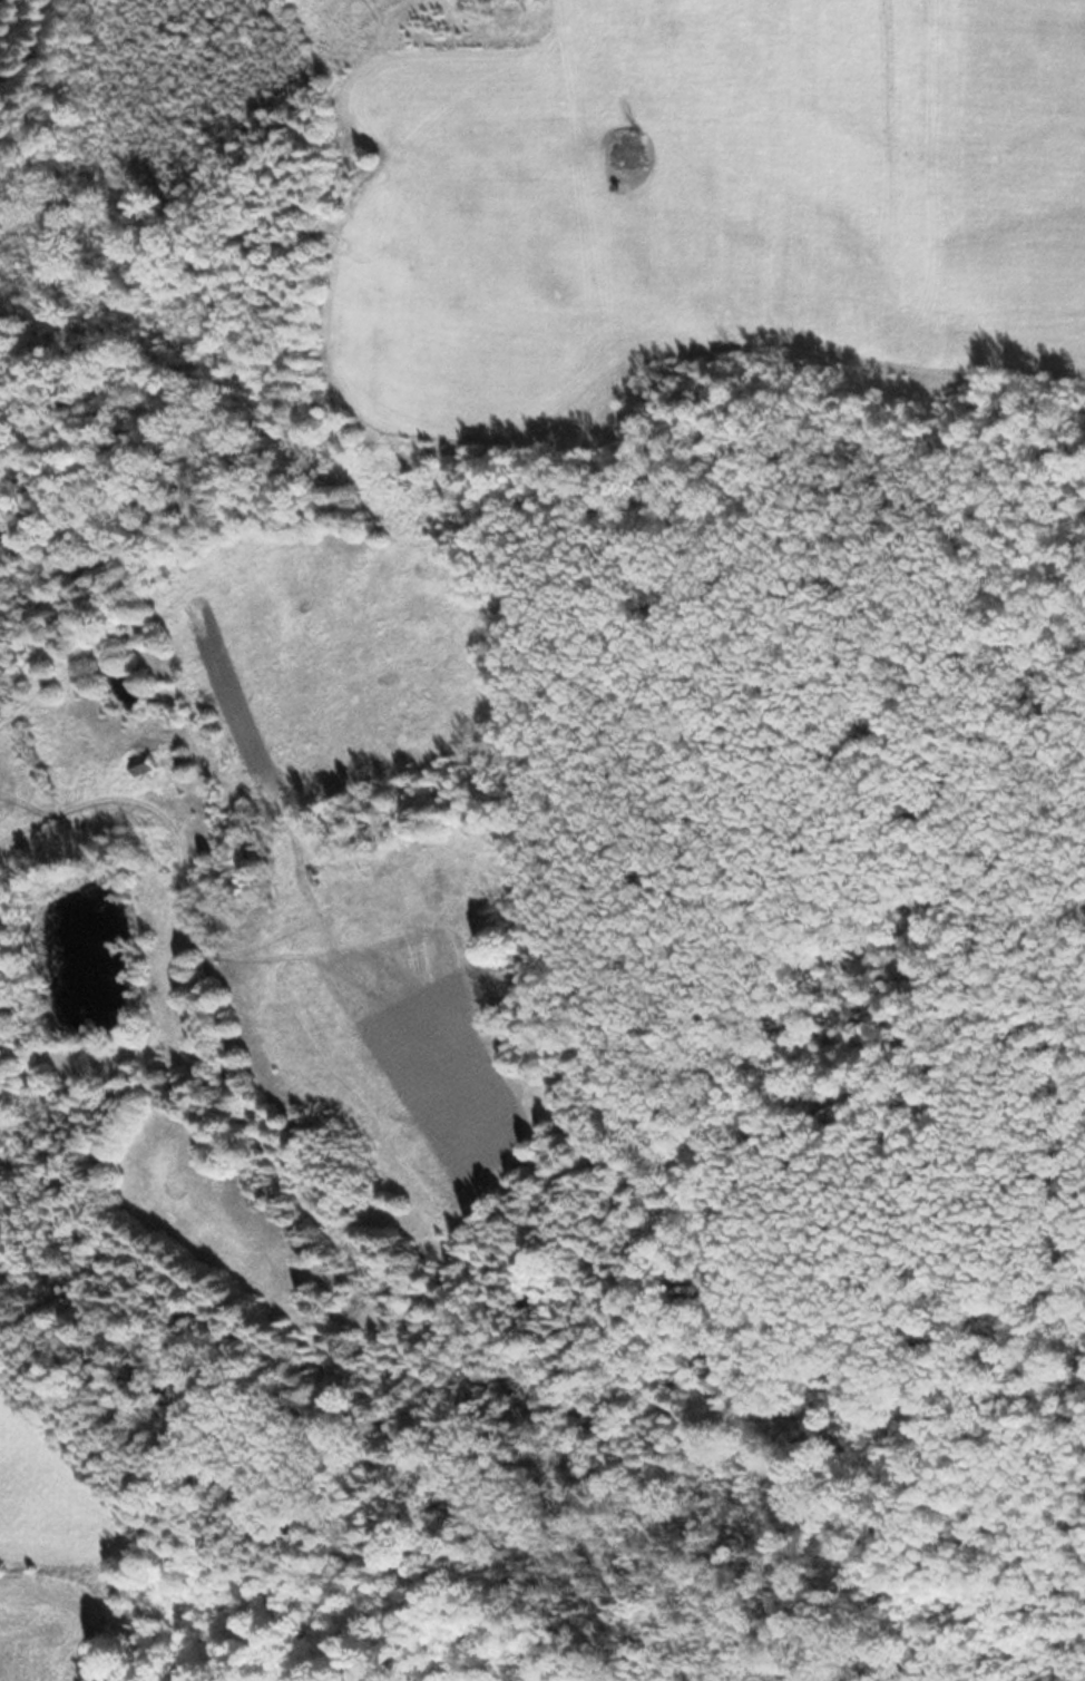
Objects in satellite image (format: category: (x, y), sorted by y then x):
building: (143, 765)
road: (36, 860)

